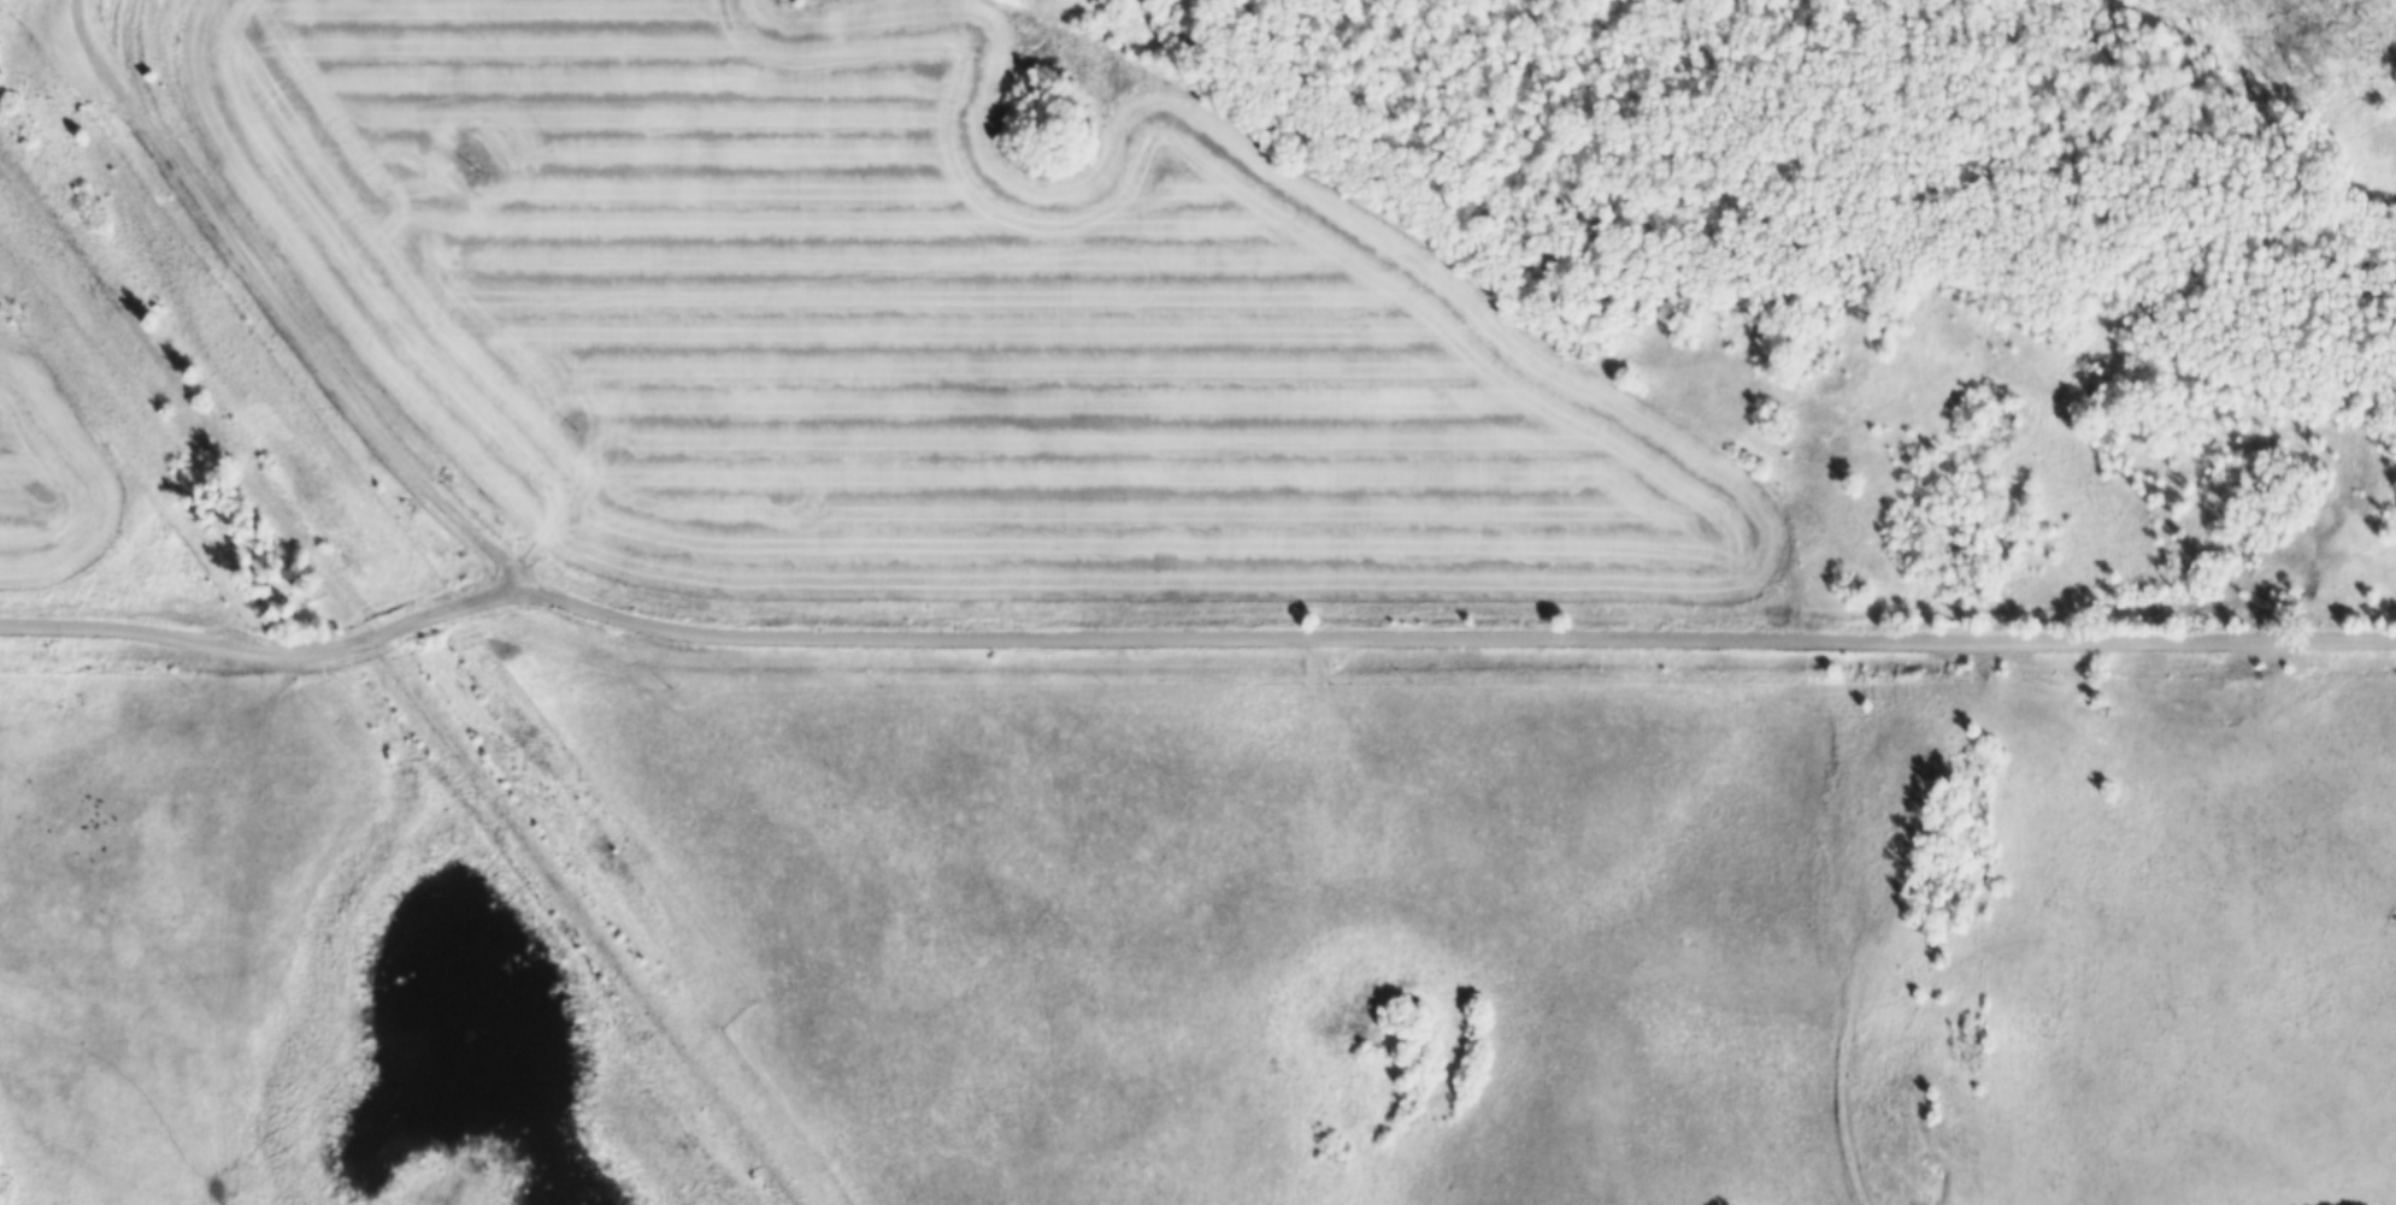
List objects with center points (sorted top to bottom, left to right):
building: (46, 2)
road: (287, 307)
road: (1454, 630)
road: (269, 651)

